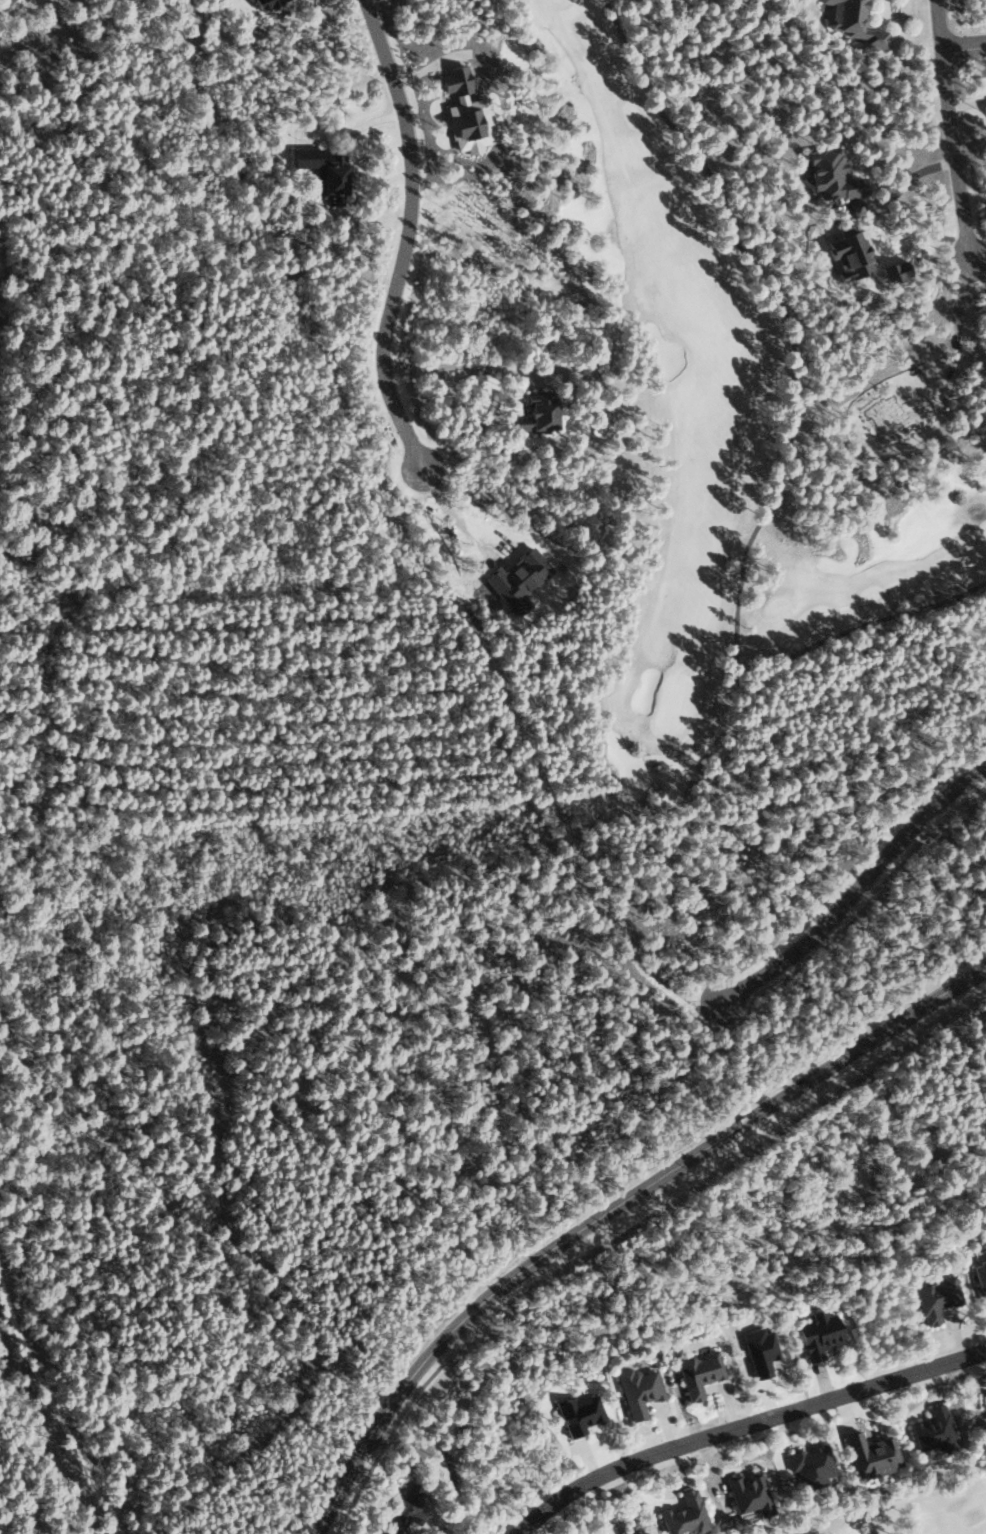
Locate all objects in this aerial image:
building: (263, 3)
building: (853, 21)
road: (969, 41)
building: (467, 126)
road: (959, 130)
building: (322, 171)
building: (831, 174)
road: (401, 237)
building: (535, 412)
park: (711, 431)
road: (854, 883)
road: (613, 1212)
building: (981, 1278)
building: (937, 1297)
building: (819, 1334)
building: (699, 1372)
building: (639, 1389)
building: (578, 1412)
road: (747, 1428)
building: (934, 1429)
building: (871, 1453)
building: (811, 1464)
building: (748, 1491)
building: (406, 1510)
park: (918, 1512)
building: (685, 1513)

